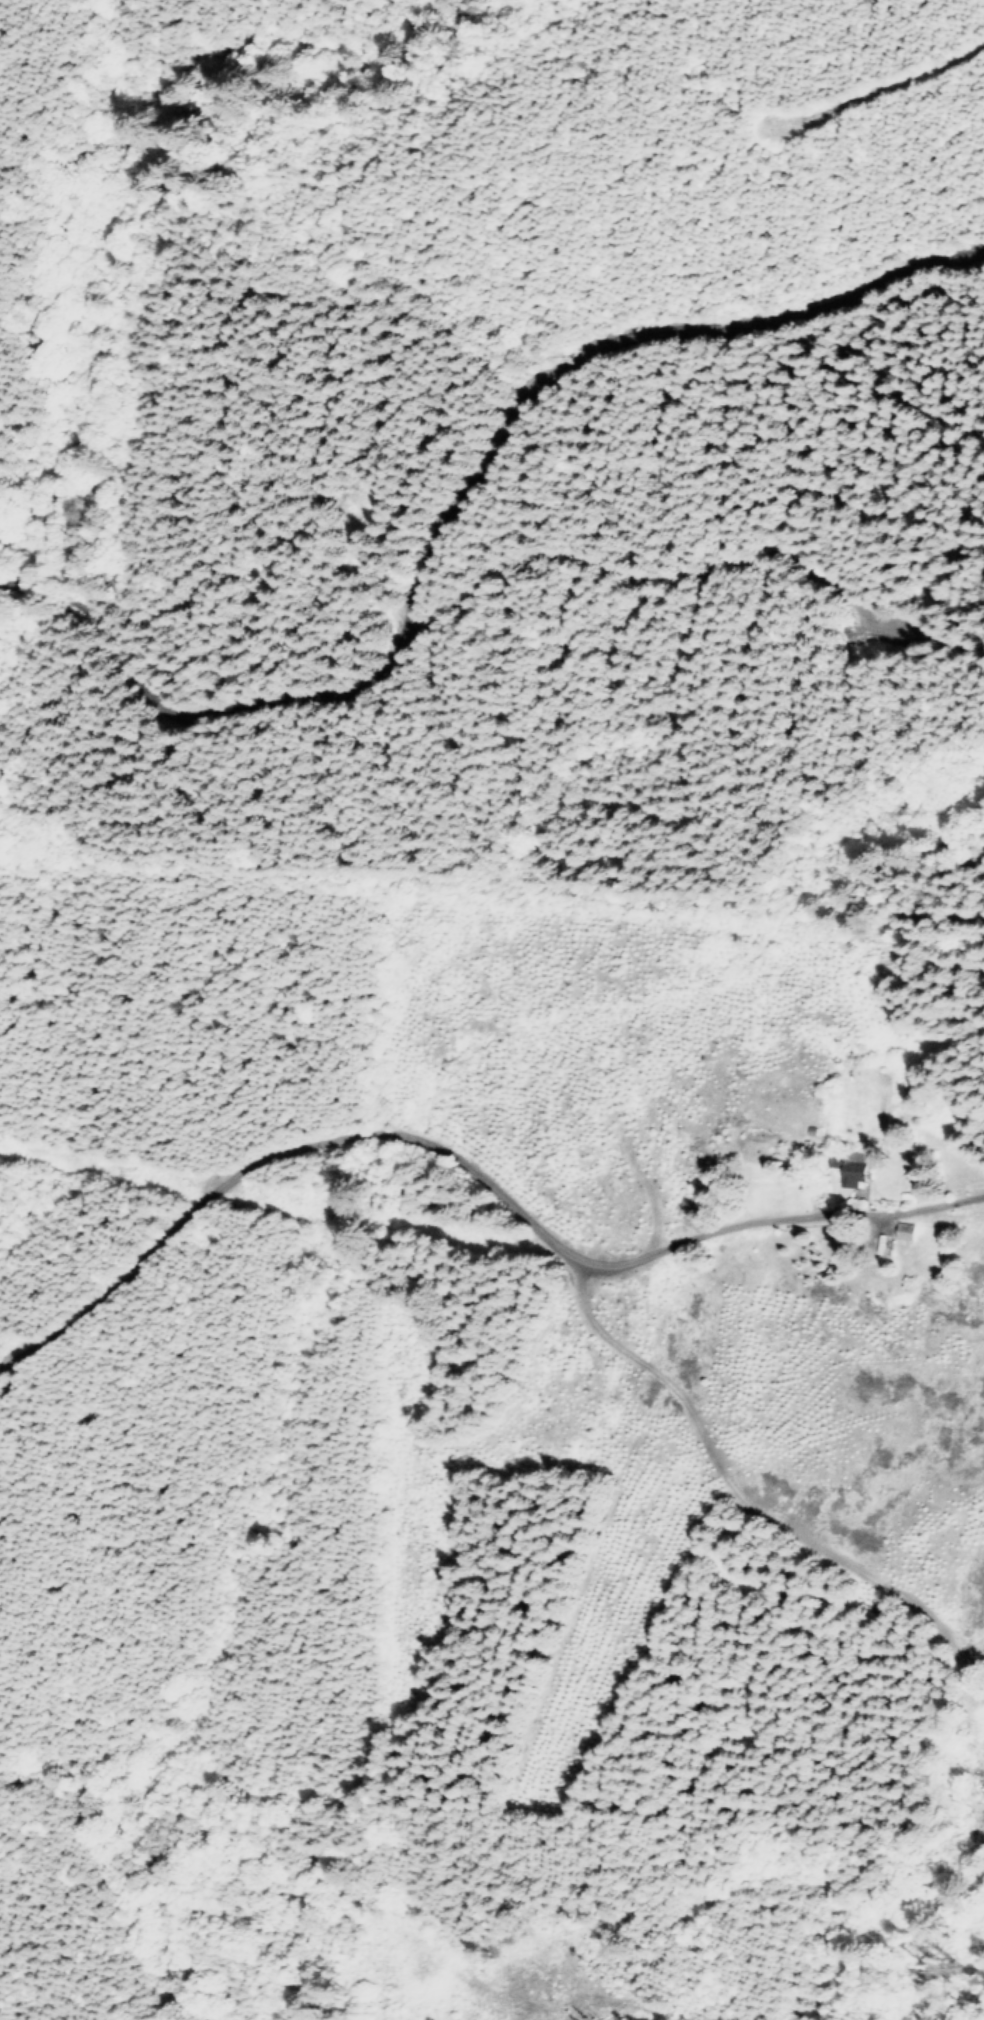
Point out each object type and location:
road: (381, 593)
road: (483, 609)
road: (445, 1182)

